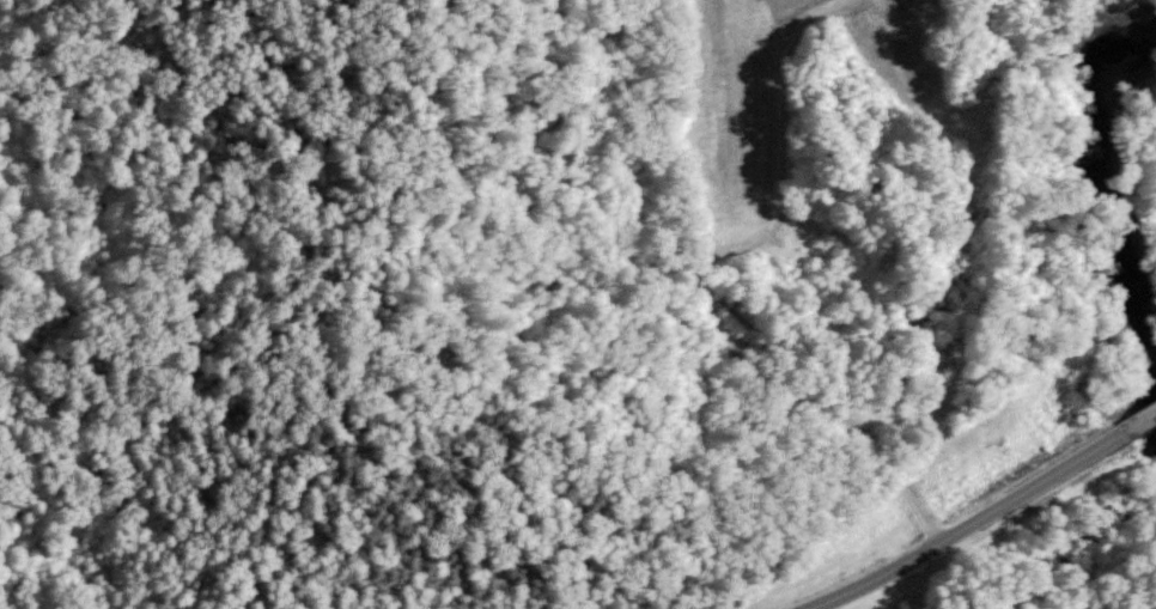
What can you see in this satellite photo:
road: (986, 514)

